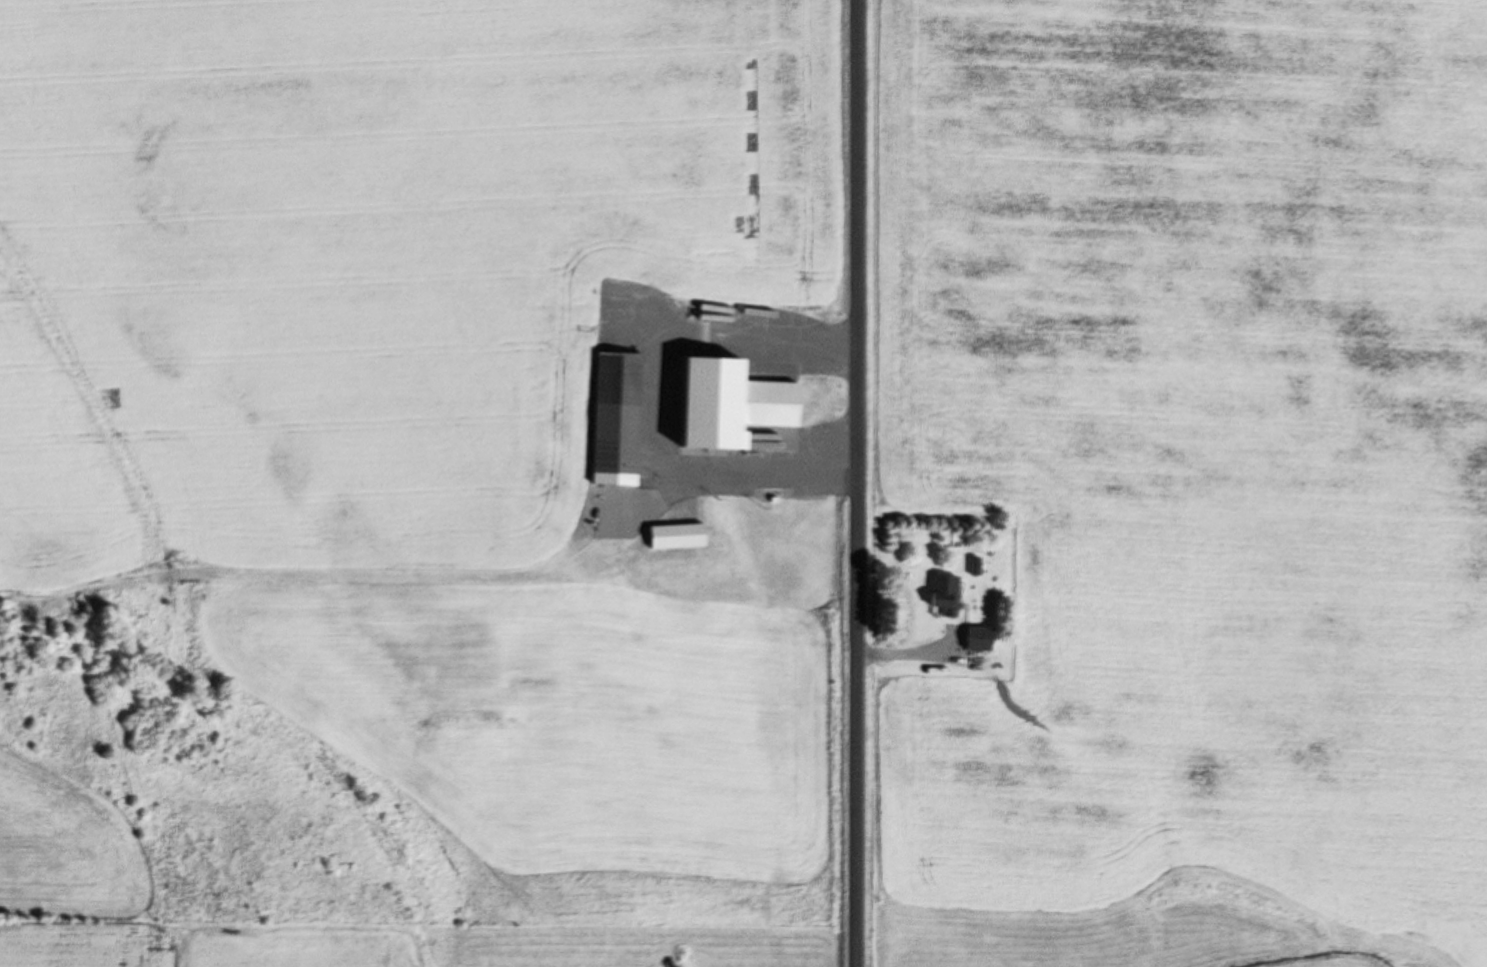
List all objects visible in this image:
building: (731, 404)
building: (617, 420)
road: (858, 483)
building: (677, 537)
building: (947, 595)
building: (976, 643)

